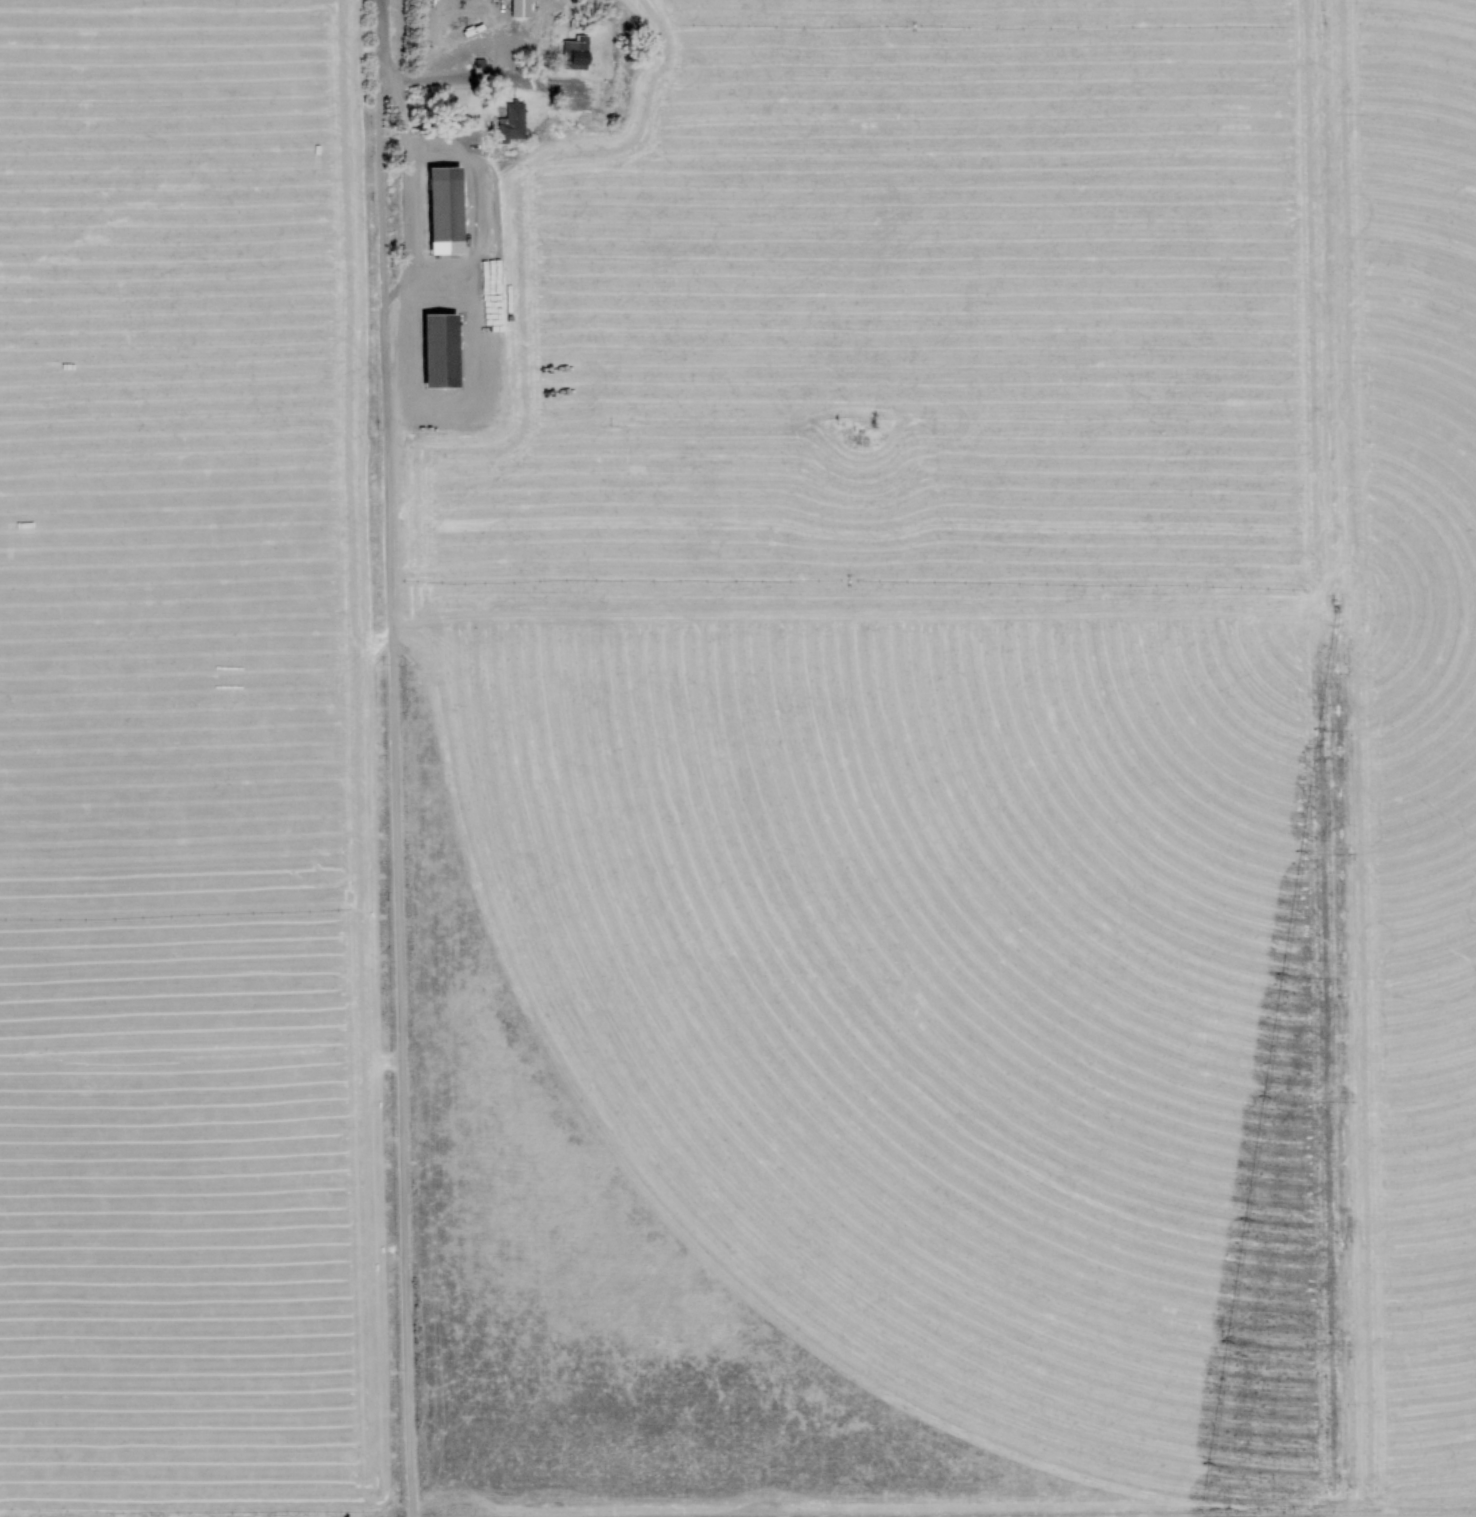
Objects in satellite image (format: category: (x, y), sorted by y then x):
building: (575, 54)
road: (379, 58)
road: (478, 84)
building: (511, 122)
building: (434, 208)
building: (434, 350)
road: (398, 816)

